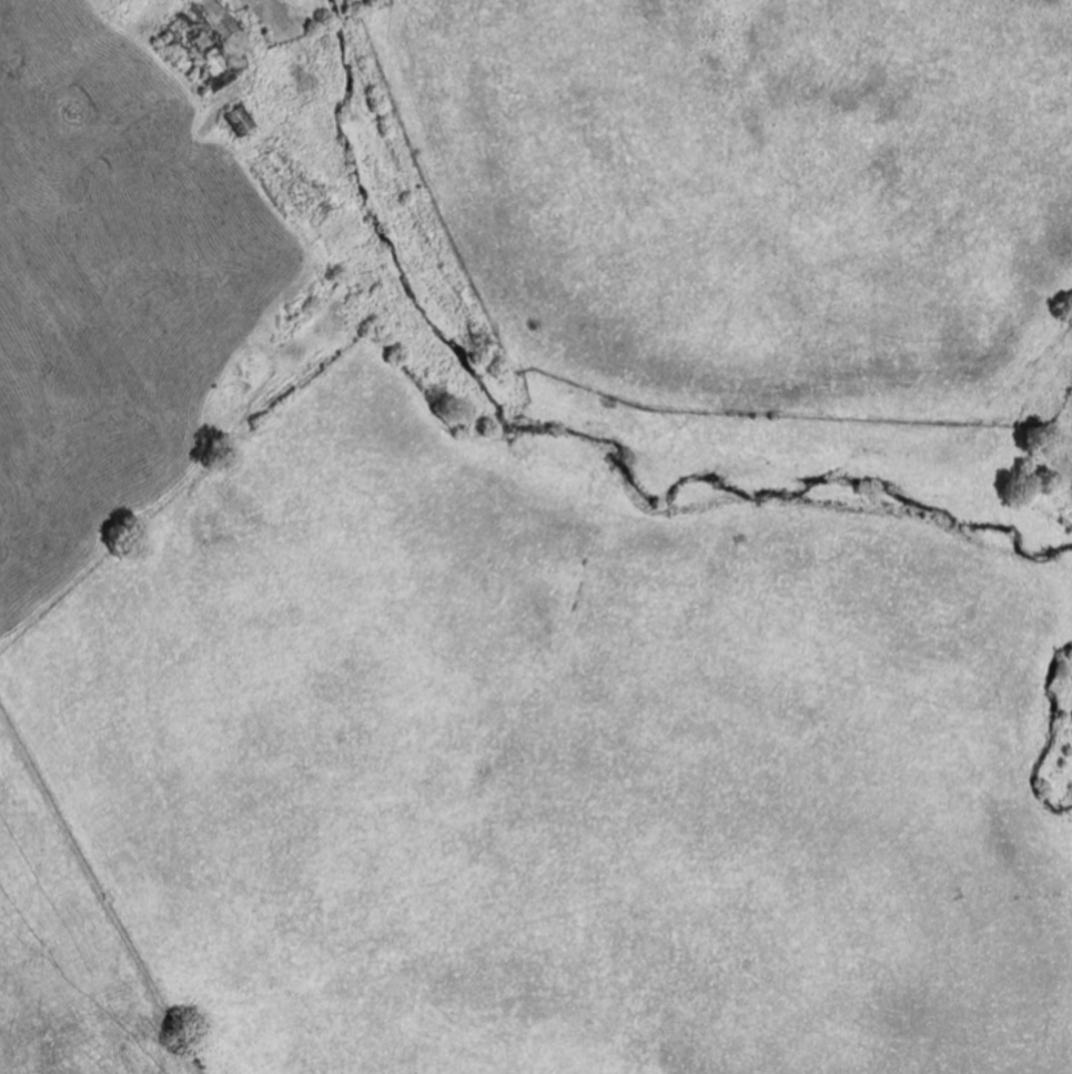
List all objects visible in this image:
building: (203, 53)
building: (243, 122)

